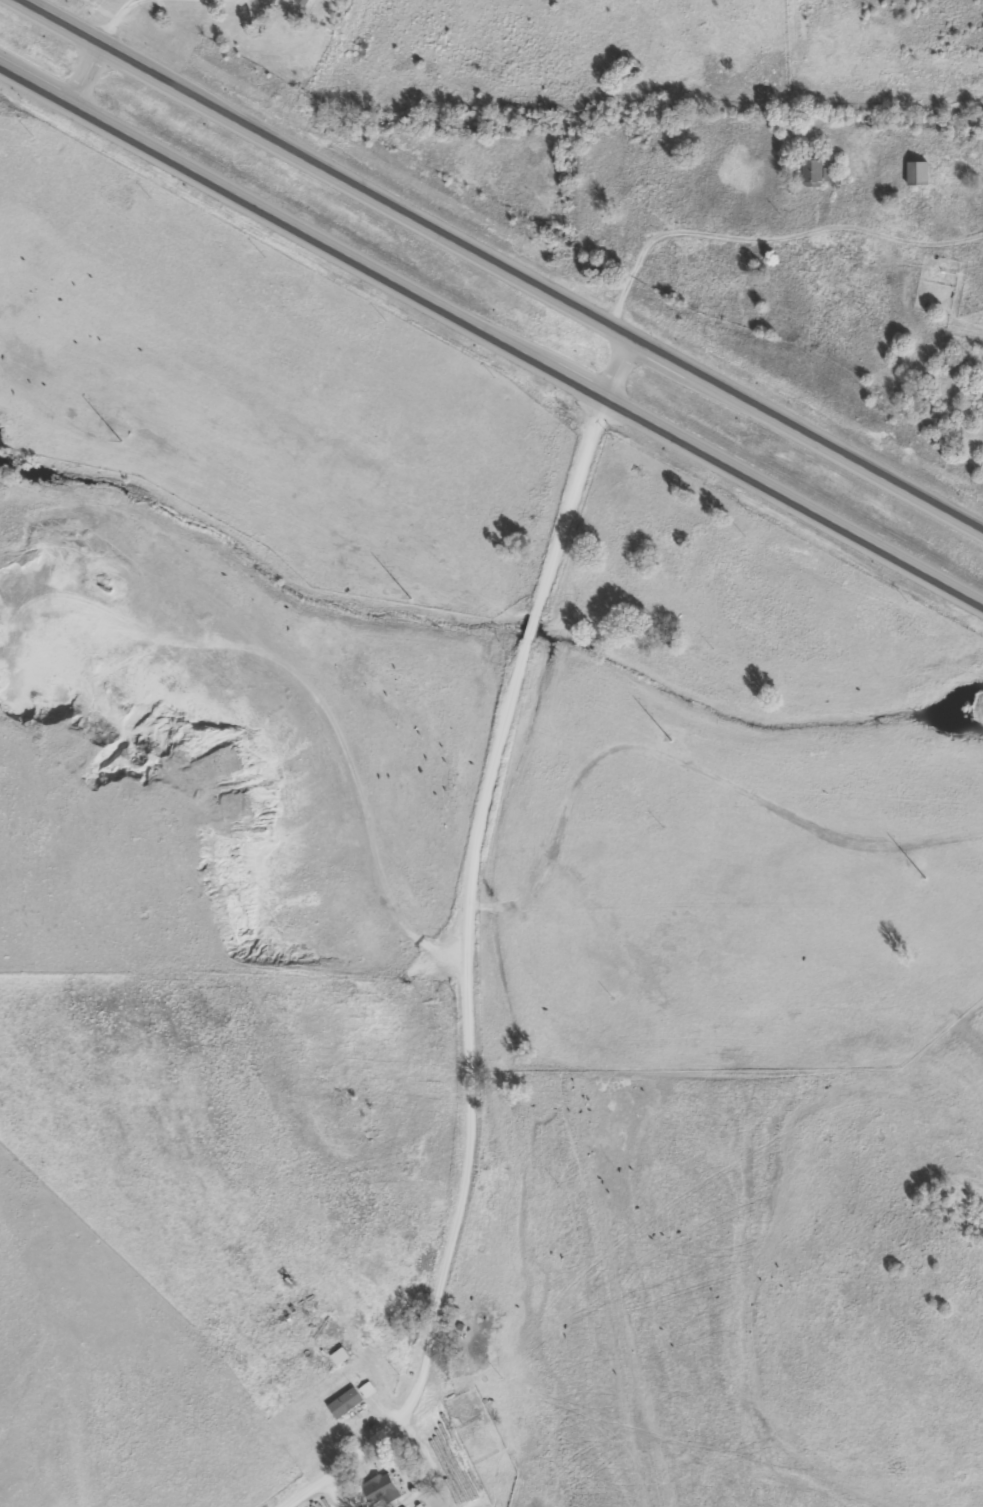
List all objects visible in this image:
building: (297, 2)
building: (809, 172)
building: (914, 173)
road: (679, 241)
road: (503, 267)
road: (491, 335)
road: (443, 924)
building: (342, 1403)
building: (376, 1490)

